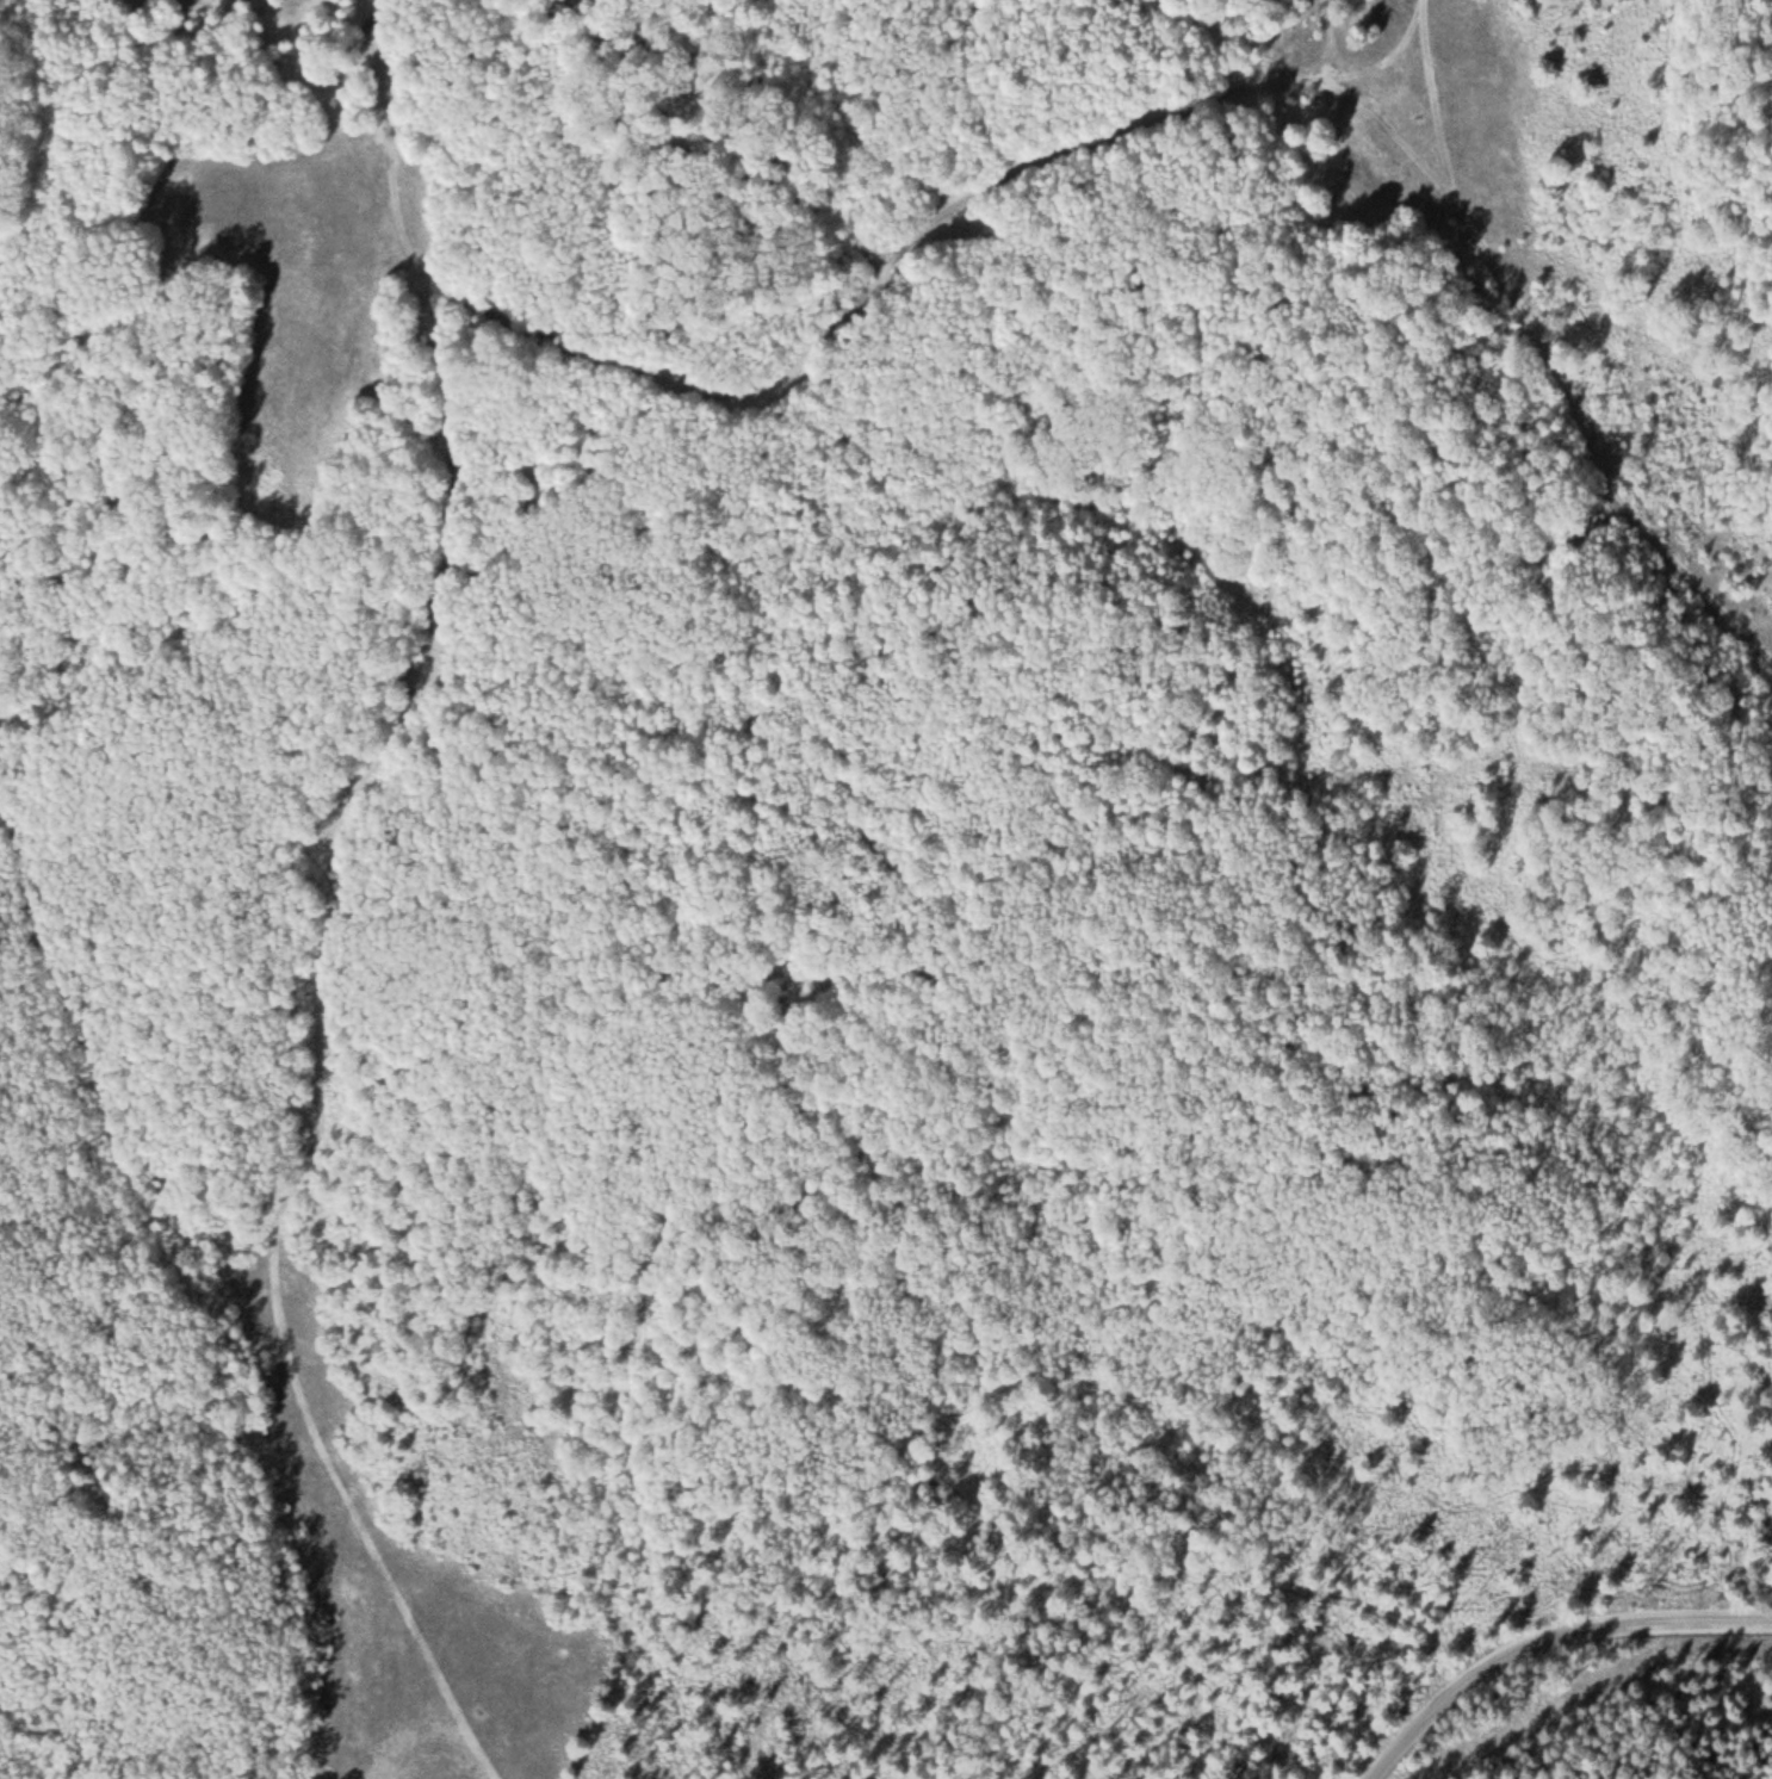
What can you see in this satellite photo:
road: (1332, 45)
road: (1436, 112)
road: (1052, 162)
road: (1544, 1636)

